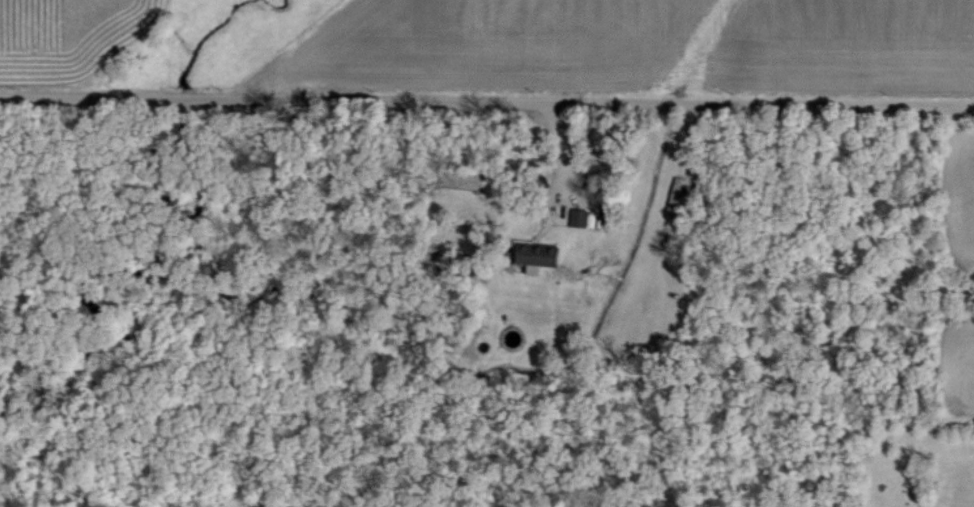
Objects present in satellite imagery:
road: (486, 101)
road: (560, 151)
building: (673, 194)
building: (575, 217)
building: (532, 254)

